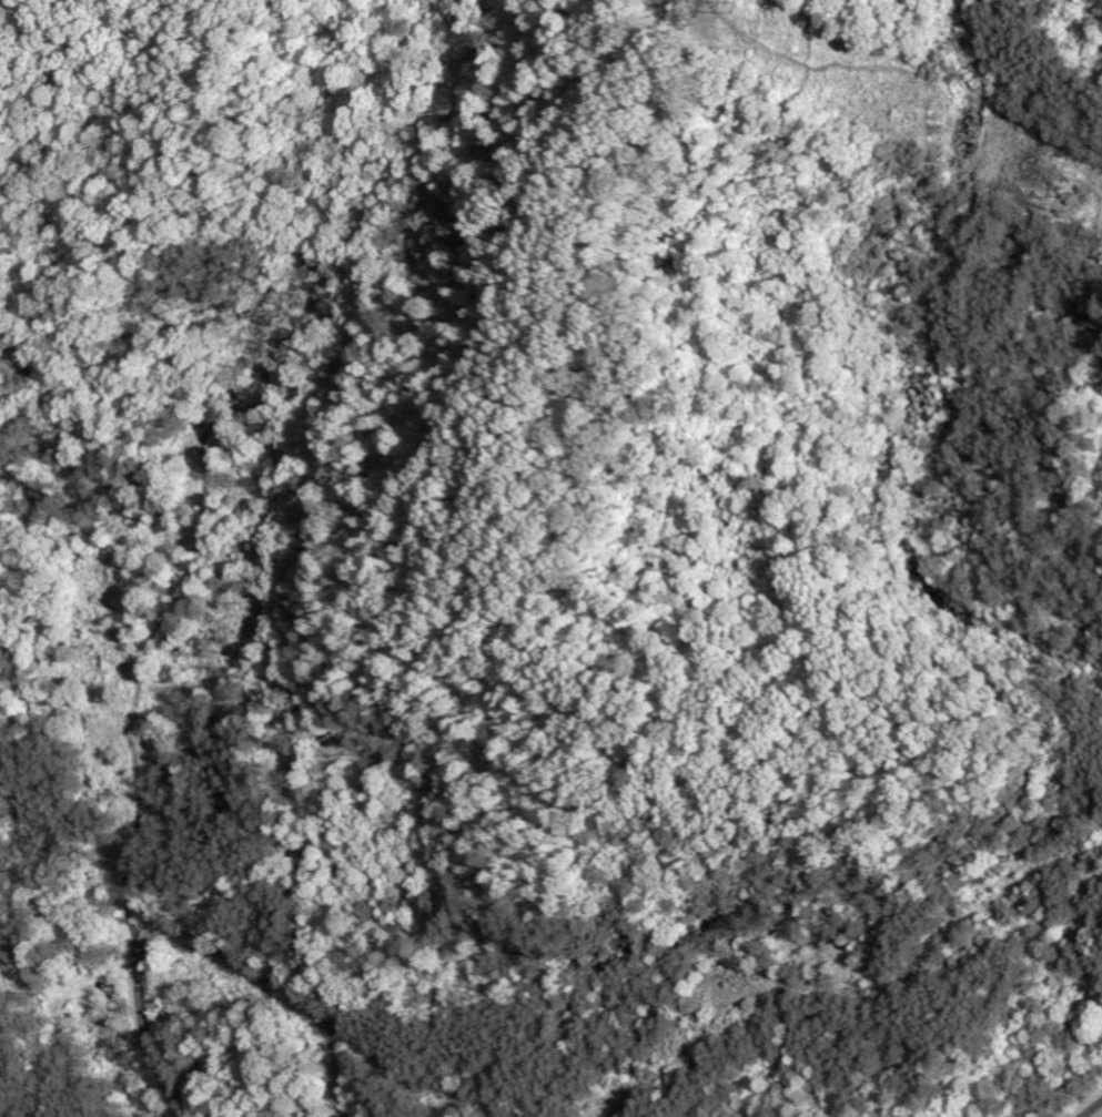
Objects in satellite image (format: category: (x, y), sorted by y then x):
power tower: (742, 4)
road: (1091, 1108)

